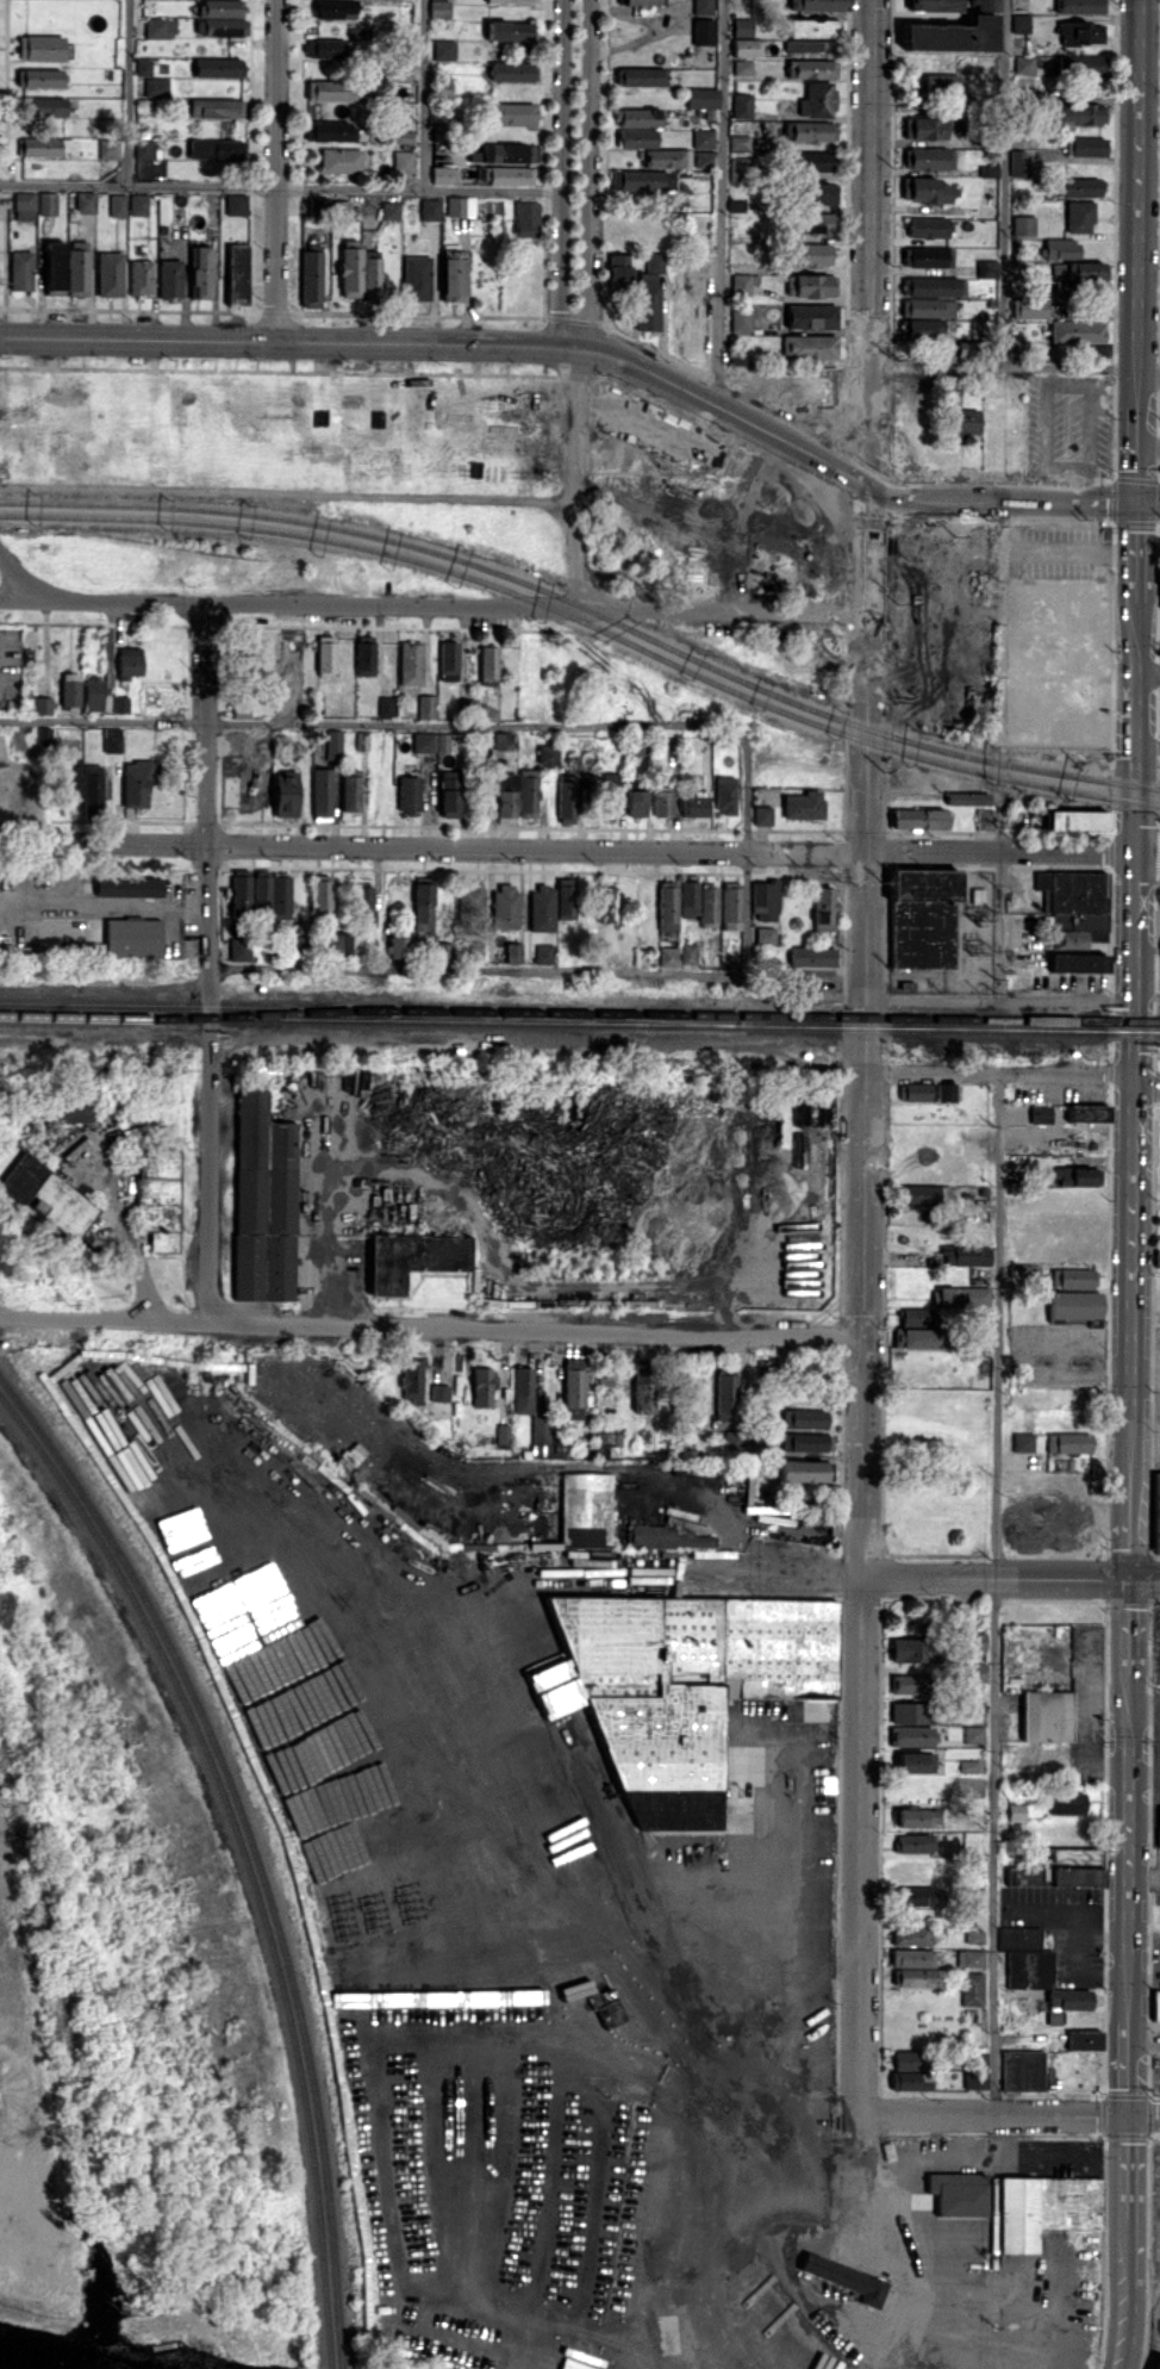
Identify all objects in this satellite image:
building: (513, 1)
building: (637, 1)
building: (817, 5)
building: (934, 5)
building: (984, 5)
building: (703, 6)
building: (1079, 6)
building: (335, 8)
building: (438, 8)
building: (220, 18)
building: (1018, 23)
building: (741, 26)
building: (811, 26)
building: (160, 27)
building: (509, 30)
building: (703, 31)
building: (360, 32)
building: (1079, 33)
building: (953, 35)
building: (805, 44)
building: (746, 46)
building: (39, 48)
building: (323, 48)
building: (443, 49)
building: (1023, 63)
building: (1080, 66)
building: (143, 67)
building: (217, 67)
building: (742, 67)
building: (811, 68)
building: (510, 70)
building: (643, 76)
building: (39, 77)
building: (941, 85)
building: (155, 86)
building: (328, 89)
road: (129, 92)
road: (424, 94)
building: (701, 98)
building: (817, 99)
building: (741, 105)
building: (43, 106)
building: (216, 107)
building: (510, 112)
building: (1079, 114)
building: (637, 117)
building: (955, 125)
building: (924, 126)
building: (329, 130)
building: (438, 131)
building: (806, 131)
building: (401, 136)
building: (703, 137)
building: (636, 138)
building: (738, 142)
building: (1085, 145)
building: (43, 147)
building: (108, 148)
building: (143, 148)
building: (213, 148)
building: (507, 153)
building: (666, 157)
building: (703, 157)
building: (928, 158)
building: (339, 160)
building: (403, 161)
building: (810, 161)
building: (1017, 163)
building: (738, 168)
building: (989, 170)
road: (279, 172)
building: (444, 174)
building: (510, 175)
road: (556, 175)
road: (595, 180)
building: (642, 180)
road: (868, 182)
road: (1005, 184)
road: (277, 185)
building: (1079, 187)
building: (924, 189)
building: (819, 193)
building: (46, 203)
building: (138, 204)
building: (235, 204)
road: (1134, 204)
building: (24, 205)
building: (117, 205)
building: (736, 205)
building: (329, 206)
building: (460, 206)
building: (430, 209)
building: (389, 210)
road: (718, 210)
building: (1079, 216)
building: (526, 218)
building: (813, 222)
building: (1022, 225)
building: (927, 228)
building: (1061, 248)
building: (810, 254)
building: (929, 256)
building: (654, 261)
building: (80, 267)
building: (350, 267)
building: (55, 268)
building: (986, 268)
building: (20, 269)
building: (620, 271)
building: (200, 272)
building: (110, 273)
building: (237, 274)
building: (370, 274)
building: (1084, 274)
building: (141, 276)
building: (169, 278)
building: (311, 278)
building: (416, 278)
building: (453, 279)
building: (743, 284)
building: (811, 285)
building: (933, 286)
building: (647, 306)
building: (927, 306)
building: (1030, 307)
building: (811, 316)
building: (741, 318)
building: (921, 329)
building: (1077, 331)
road: (423, 344)
building: (809, 347)
building: (963, 348)
road: (1014, 368)
road: (420, 387)
road: (860, 405)
road: (879, 405)
building: (963, 421)
road: (1133, 455)
road: (950, 489)
road: (288, 493)
road: (1036, 500)
road: (1102, 502)
traffic signals: (1133, 503)
road: (1146, 503)
road: (953, 504)
road: (891, 528)
road: (578, 531)
road: (1133, 547)
road: (1067, 552)
road: (30, 579)
road: (383, 605)
railway: (587, 609)
building: (929, 613)
building: (954, 621)
railway: (587, 622)
building: (325, 654)
building: (363, 654)
building: (448, 660)
building: (129, 661)
building: (288, 661)
building: (411, 663)
building: (488, 665)
road: (1133, 669)
road: (1147, 673)
road: (855, 688)
building: (70, 689)
road: (875, 689)
building: (93, 694)
building: (156, 698)
building: (287, 702)
building: (43, 704)
building: (120, 704)
building: (386, 705)
building: (426, 707)
railway: (579, 719)
road: (351, 725)
building: (111, 739)
building: (504, 740)
railway: (579, 740)
building: (430, 741)
building: (257, 744)
building: (333, 744)
road: (1147, 746)
road: (1000, 748)
building: (547, 753)
road: (748, 775)
road: (1134, 782)
building: (70, 783)
building: (136, 783)
building: (92, 788)
building: (256, 789)
building: (322, 791)
building: (350, 792)
building: (409, 792)
building: (526, 792)
building: (285, 794)
building: (449, 794)
building: (611, 794)
building: (724, 795)
building: (505, 796)
building: (967, 797)
building: (566, 798)
building: (662, 801)
building: (635, 802)
building: (694, 803)
building: (803, 804)
building: (762, 814)
building: (918, 817)
building: (985, 819)
building: (1037, 819)
building: (1077, 820)
road: (1145, 833)
road: (1135, 837)
road: (599, 847)
road: (1135, 868)
road: (1147, 875)
building: (129, 887)
building: (261, 890)
building: (239, 891)
building: (280, 895)
building: (320, 895)
building: (565, 897)
building: (469, 899)
building: (687, 899)
building: (765, 900)
building: (605, 903)
building: (707, 903)
building: (366, 904)
building: (504, 904)
building: (667, 906)
building: (730, 906)
building: (423, 907)
building: (542, 907)
building: (1074, 908)
building: (823, 909)
road: (867, 909)
road: (746, 912)
building: (922, 916)
building: (765, 934)
building: (132, 938)
building: (339, 945)
building: (398, 946)
building: (239, 949)
building: (513, 952)
building: (543, 953)
building: (687, 953)
building: (667, 956)
building: (811, 957)
building: (1077, 962)
road: (210, 963)
road: (478, 970)
road: (1147, 976)
road: (1135, 978)
road: (1004, 999)
railway: (1, 1003)
railway: (274, 1013)
railway: (581, 1013)
railway: (612, 1019)
road: (854, 1019)
road: (875, 1019)
railway: (579, 1025)
road: (1000, 1074)
road: (1147, 1081)
road: (1135, 1086)
building: (928, 1092)
building: (1087, 1112)
building: (71, 1113)
building: (1040, 1113)
building: (1075, 1176)
building: (42, 1192)
building: (918, 1193)
building: (157, 1198)
building: (263, 1200)
road: (129, 1232)
building: (966, 1255)
building: (412, 1257)
building: (928, 1257)
road: (1134, 1257)
railway: (790, 1264)
building: (1024, 1270)
building: (1071, 1277)
road: (865, 1285)
building: (960, 1297)
building: (1074, 1305)
building: (918, 1316)
road: (105, 1319)
road: (537, 1331)
building: (918, 1337)
building: (974, 1343)
building: (605, 1376)
building: (411, 1380)
building: (482, 1386)
building: (573, 1387)
building: (643, 1387)
building: (522, 1389)
building: (439, 1392)
building: (725, 1397)
building: (804, 1418)
building: (503, 1434)
building: (544, 1436)
building: (735, 1440)
building: (1023, 1441)
building: (806, 1442)
building: (1068, 1442)
building: (802, 1470)
road: (1147, 1473)
road: (1122, 1475)
building: (586, 1509)
building: (797, 1510)
building: (1156, 1512)
road: (953, 1521)
road: (1131, 1523)
building: (651, 1536)
building: (692, 1538)
road: (1043, 1549)
road: (1046, 1567)
road: (1079, 1571)
road: (701, 1574)
road: (997, 1593)
road: (450, 1610)
road: (1158, 1617)
road: (1127, 1624)
building: (915, 1649)
road: (1116, 1654)
road: (1141, 1655)
building: (974, 1672)
building: (909, 1684)
building: (686, 1686)
building: (912, 1712)
building: (1047, 1715)
road: (1130, 1716)
building: (974, 1734)
railway: (210, 1736)
building: (912, 1736)
building: (913, 1761)
building: (968, 1765)
road: (863, 1792)
building: (1066, 1802)
building: (1016, 1811)
building: (918, 1817)
building: (1159, 1827)
building: (913, 1842)
road: (1129, 1845)
railway: (243, 1855)
building: (1073, 1866)
building: (915, 1895)
building: (911, 1935)
building: (974, 1936)
building: (913, 1958)
building: (969, 1958)
building: (1025, 1958)
building: (918, 1977)
road: (1128, 1986)
building: (972, 1989)
building: (1066, 2002)
building: (1155, 2004)
building: (606, 2007)
building: (1084, 2039)
building: (908, 2059)
road: (1128, 2068)
building: (1022, 2070)
building: (910, 2079)
road: (994, 2114)
traffic signals: (1128, 2115)
road: (1143, 2115)
road: (1128, 2164)
building: (958, 2193)
road: (875, 2249)
railway: (332, 2252)
building: (844, 2277)
road: (1128, 2292)
building: (1154, 2363)
river: (8, 2367)

